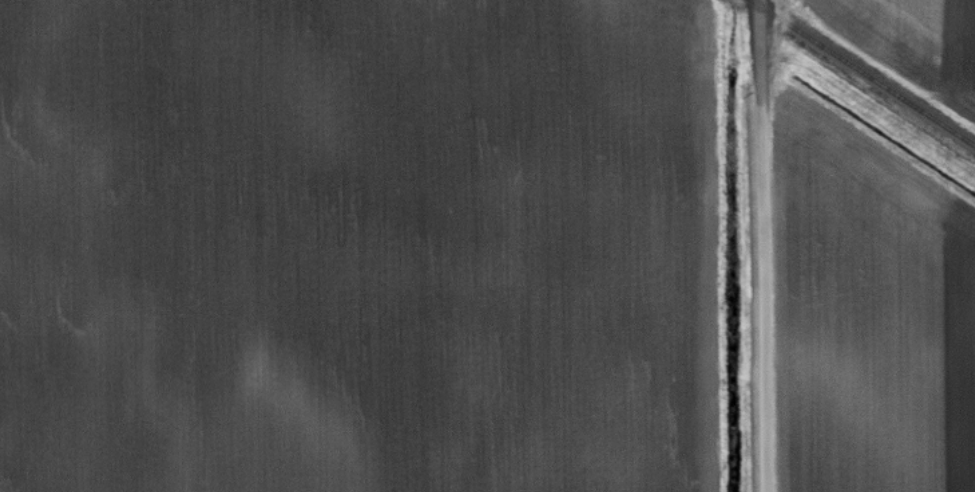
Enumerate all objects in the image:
railway: (863, 72)
road: (763, 245)

